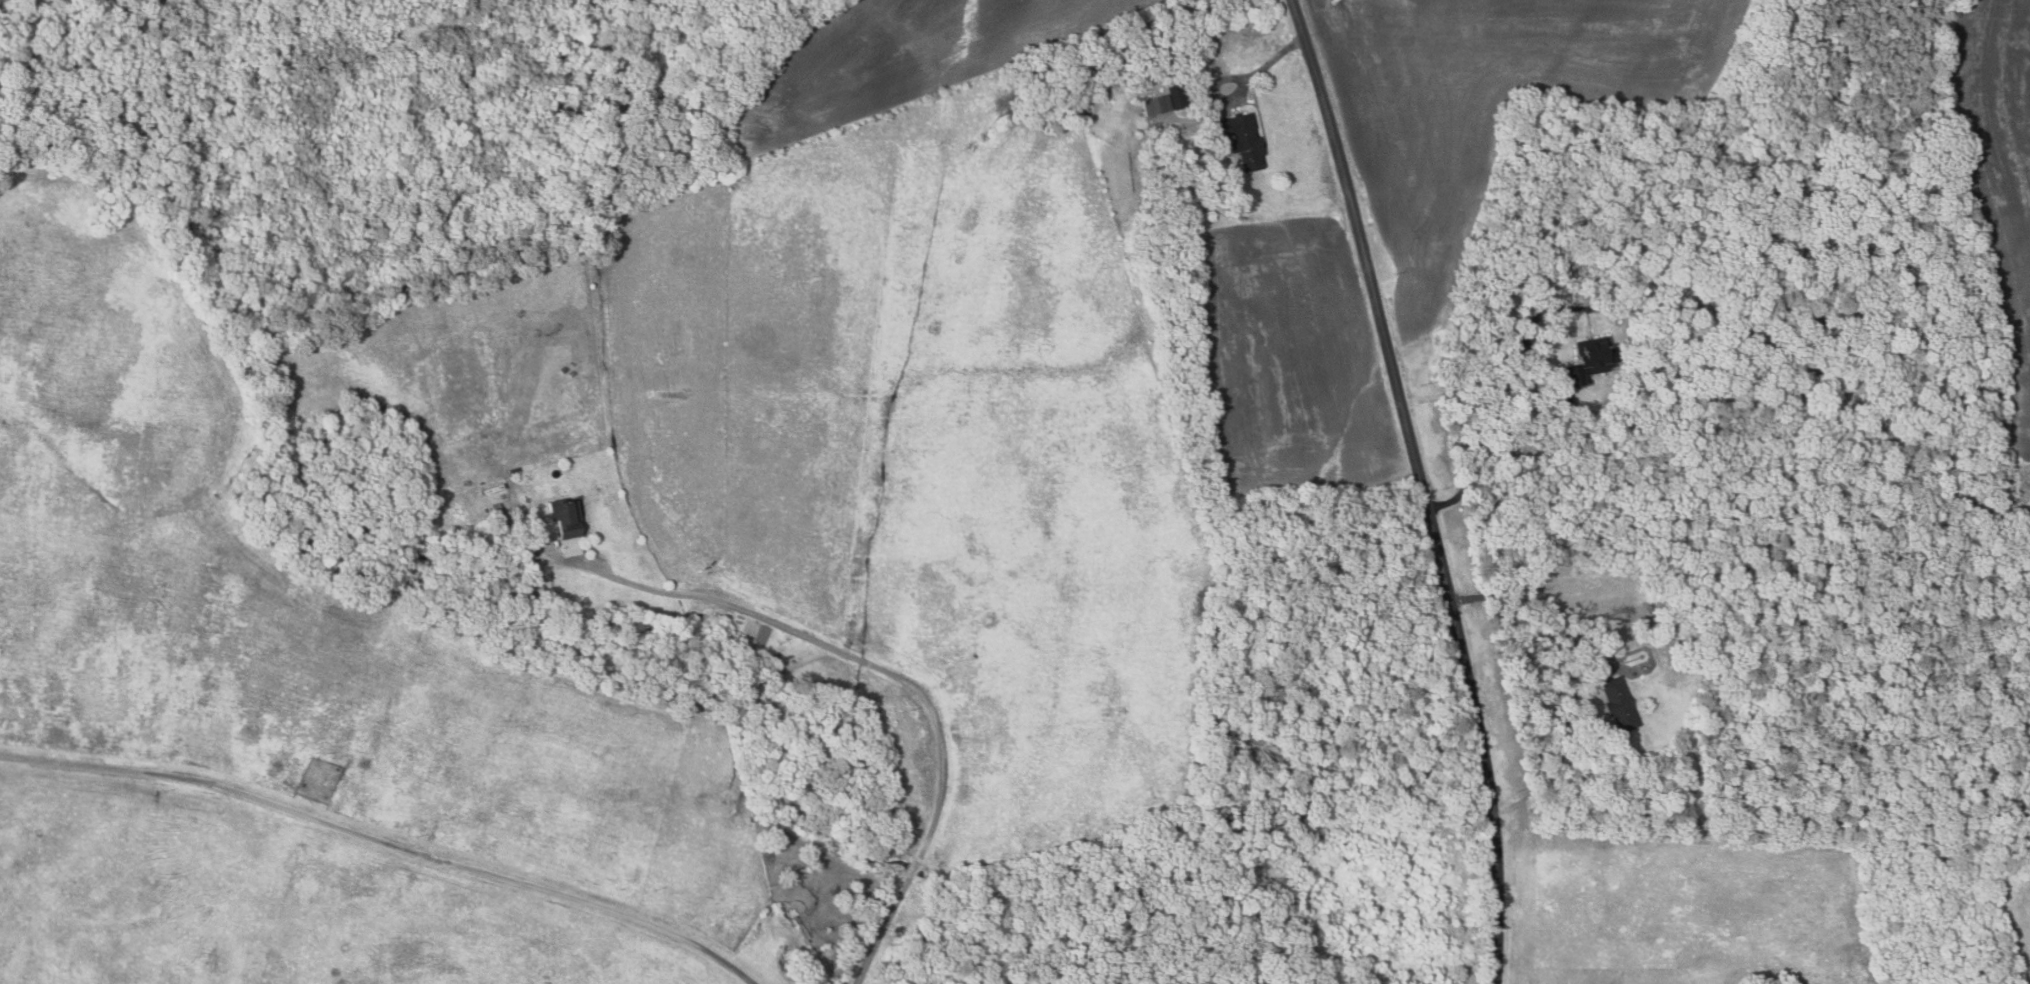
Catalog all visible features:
crop: (904, 58)
road: (1243, 87)
building: (1179, 96)
building: (1158, 104)
crop: (1480, 125)
building: (1242, 138)
crop: (1999, 173)
building: (1588, 359)
crop: (1290, 361)
road: (1507, 380)
building: (1560, 397)
building: (476, 436)
road: (1422, 487)
building: (568, 516)
building: (533, 537)
building: (1659, 604)
road: (852, 658)
road: (1576, 678)
building: (1616, 704)
road: (385, 842)
road: (914, 869)
road: (883, 929)

